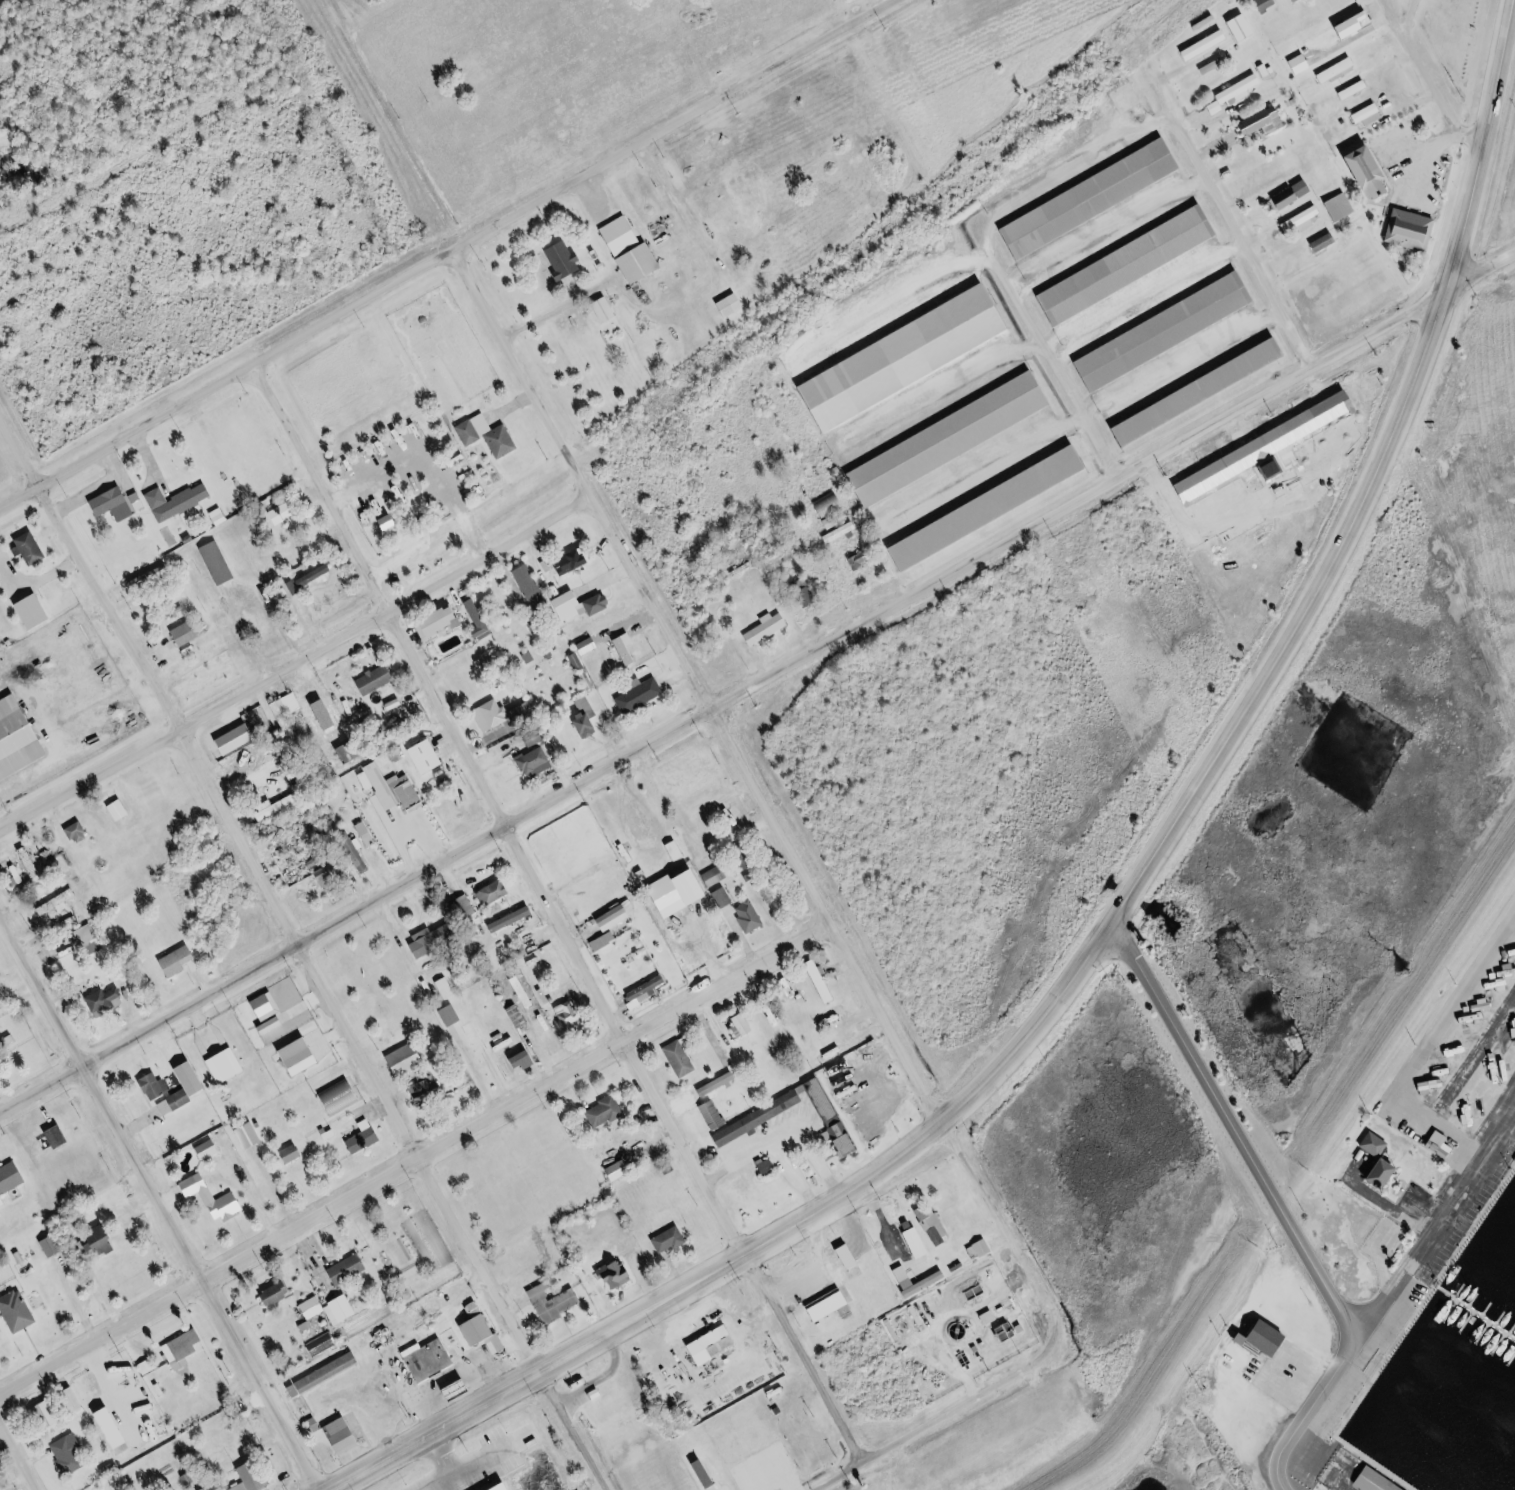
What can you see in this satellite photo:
building: (1295, 0)
building: (1265, 3)
building: (1354, 25)
building: (1240, 27)
building: (1205, 44)
building: (1300, 64)
building: (1212, 65)
building: (1335, 70)
road: (1431, 82)
building: (1239, 89)
building: (1352, 90)
building: (1365, 113)
building: (1263, 122)
road: (670, 125)
road: (1481, 144)
building: (1372, 171)
building: (1287, 198)
building: (1090, 199)
building: (1339, 207)
building: (1300, 219)
road: (1234, 224)
building: (1410, 230)
building: (1324, 242)
building: (631, 250)
building: (564, 261)
building: (1127, 265)
road: (1480, 271)
building: (730, 306)
building: (1164, 332)
road: (225, 379)
building: (487, 436)
railway: (612, 438)
building: (950, 439)
building: (827, 503)
building: (990, 507)
building: (282, 513)
building: (830, 522)
building: (389, 523)
building: (839, 532)
building: (33, 548)
building: (572, 561)
building: (859, 561)
road: (89, 572)
building: (532, 589)
building: (597, 604)
building: (37, 612)
building: (440, 624)
building: (765, 629)
building: (602, 655)
road: (294, 663)
building: (486, 665)
building: (375, 680)
building: (639, 696)
road: (724, 704)
building: (285, 707)
building: (326, 715)
building: (492, 715)
building: (19, 739)
building: (236, 739)
building: (347, 755)
building: (534, 762)
building: (696, 768)
building: (122, 810)
road: (769, 810)
building: (732, 819)
road: (1168, 830)
building: (675, 851)
building: (32, 862)
building: (715, 876)
building: (64, 900)
road: (551, 914)
building: (749, 917)
building: (89, 936)
building: (678, 938)
building: (436, 940)
building: (180, 961)
building: (820, 982)
building: (647, 988)
building: (448, 989)
building: (525, 991)
building: (108, 1001)
building: (270, 1006)
building: (453, 1016)
building: (571, 1016)
building: (840, 1044)
building: (305, 1057)
building: (680, 1058)
building: (410, 1059)
building: (528, 1060)
building: (229, 1067)
building: (196, 1080)
building: (158, 1087)
building: (428, 1093)
building: (344, 1096)
building: (713, 1099)
building: (178, 1102)
road: (393, 1109)
road: (41, 1110)
building: (759, 1118)
road: (1231, 1132)
building: (56, 1136)
building: (252, 1136)
building: (367, 1138)
building: (211, 1149)
building: (294, 1153)
road: (417, 1160)
building: (1367, 1161)
building: (619, 1169)
building: (12, 1178)
building: (215, 1198)
road: (161, 1202)
building: (0, 1210)
building: (923, 1213)
road: (1434, 1218)
building: (936, 1236)
building: (105, 1238)
building: (669, 1240)
building: (917, 1242)
building: (54, 1246)
building: (981, 1248)
building: (350, 1269)
building: (922, 1285)
building: (279, 1294)
building: (554, 1303)
building: (828, 1304)
building: (332, 1309)
building: (20, 1311)
pier: (1475, 1314)
building: (483, 1326)
building: (1254, 1335)
building: (323, 1344)
building: (713, 1344)
building: (184, 1349)
building: (430, 1360)
building: (148, 1367)
road: (533, 1370)
road: (1305, 1413)
building: (47, 1415)
road: (918, 1427)
building: (116, 1428)
building: (347, 1435)
building: (71, 1454)
road: (18, 1457)
road: (869, 1474)
building: (254, 1478)
building: (509, 1487)
building: (1390, 1488)

